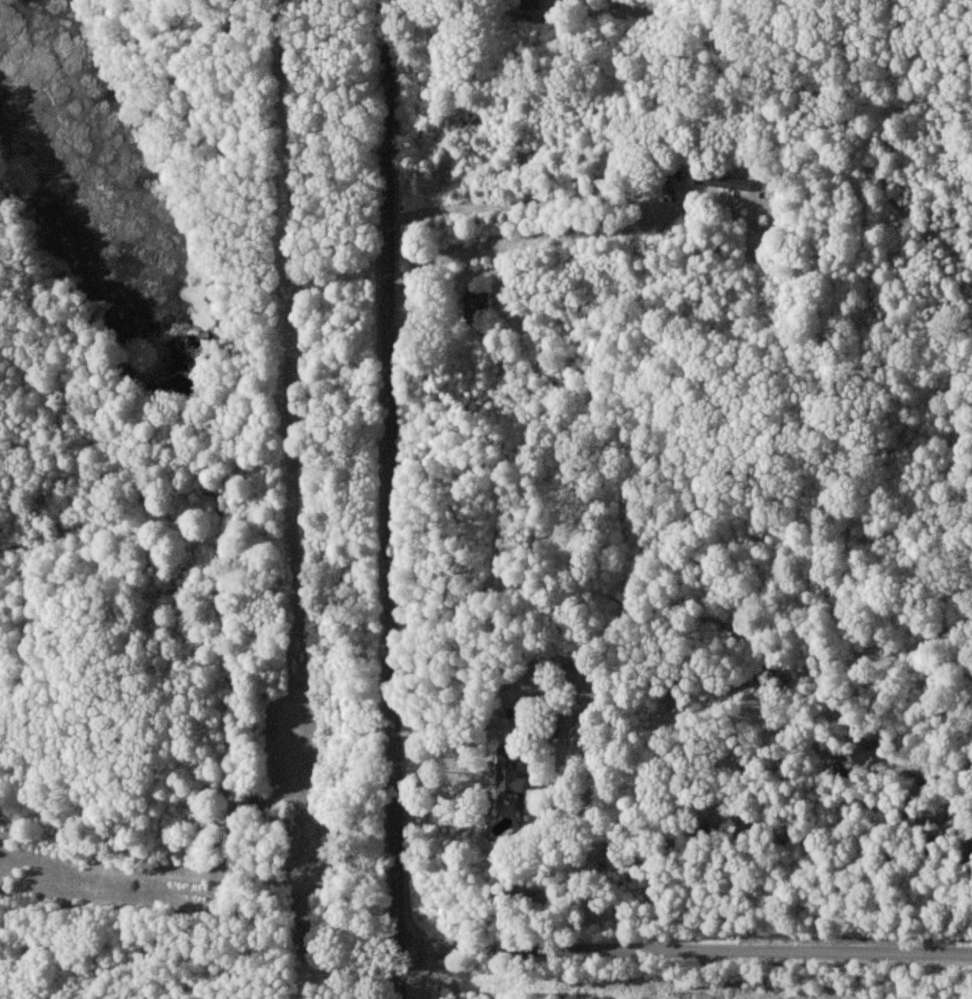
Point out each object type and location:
building: (529, 4)
building: (723, 181)
road: (521, 204)
building: (475, 303)
road: (395, 499)
building: (510, 772)
road: (686, 950)

